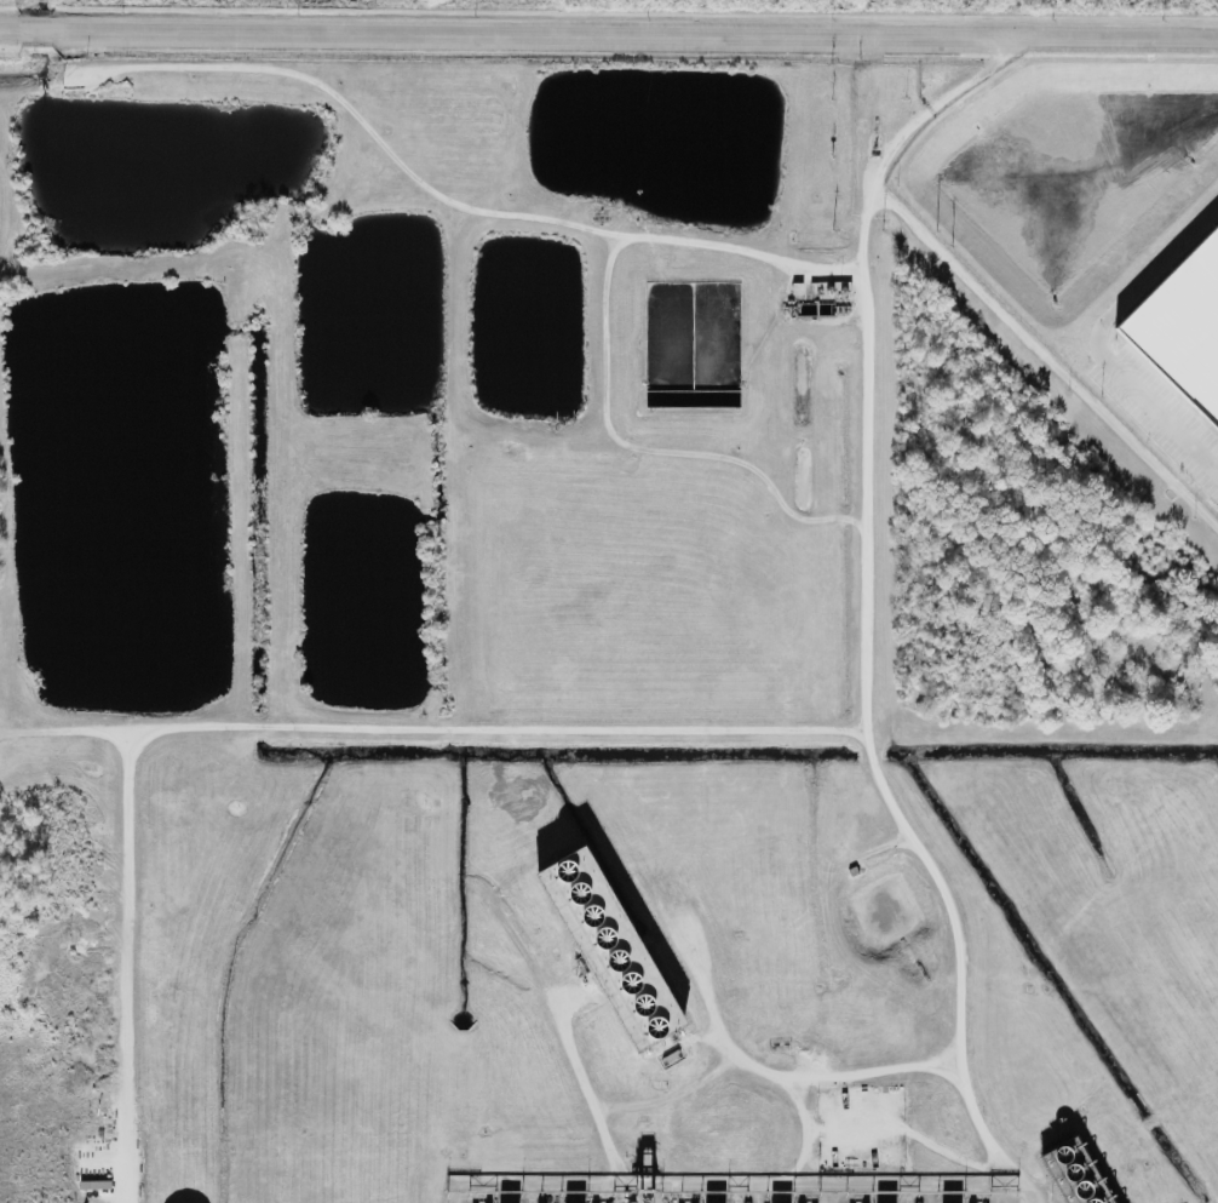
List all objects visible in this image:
road: (609, 34)
road: (901, 137)
road: (461, 205)
building: (1183, 327)
road: (1099, 342)
road: (1044, 357)
power plant: (608, 630)
road: (868, 684)
road: (432, 733)
building: (611, 950)
road: (568, 962)
road: (116, 968)
road: (568, 1006)
road: (994, 1135)
building: (1074, 1174)

